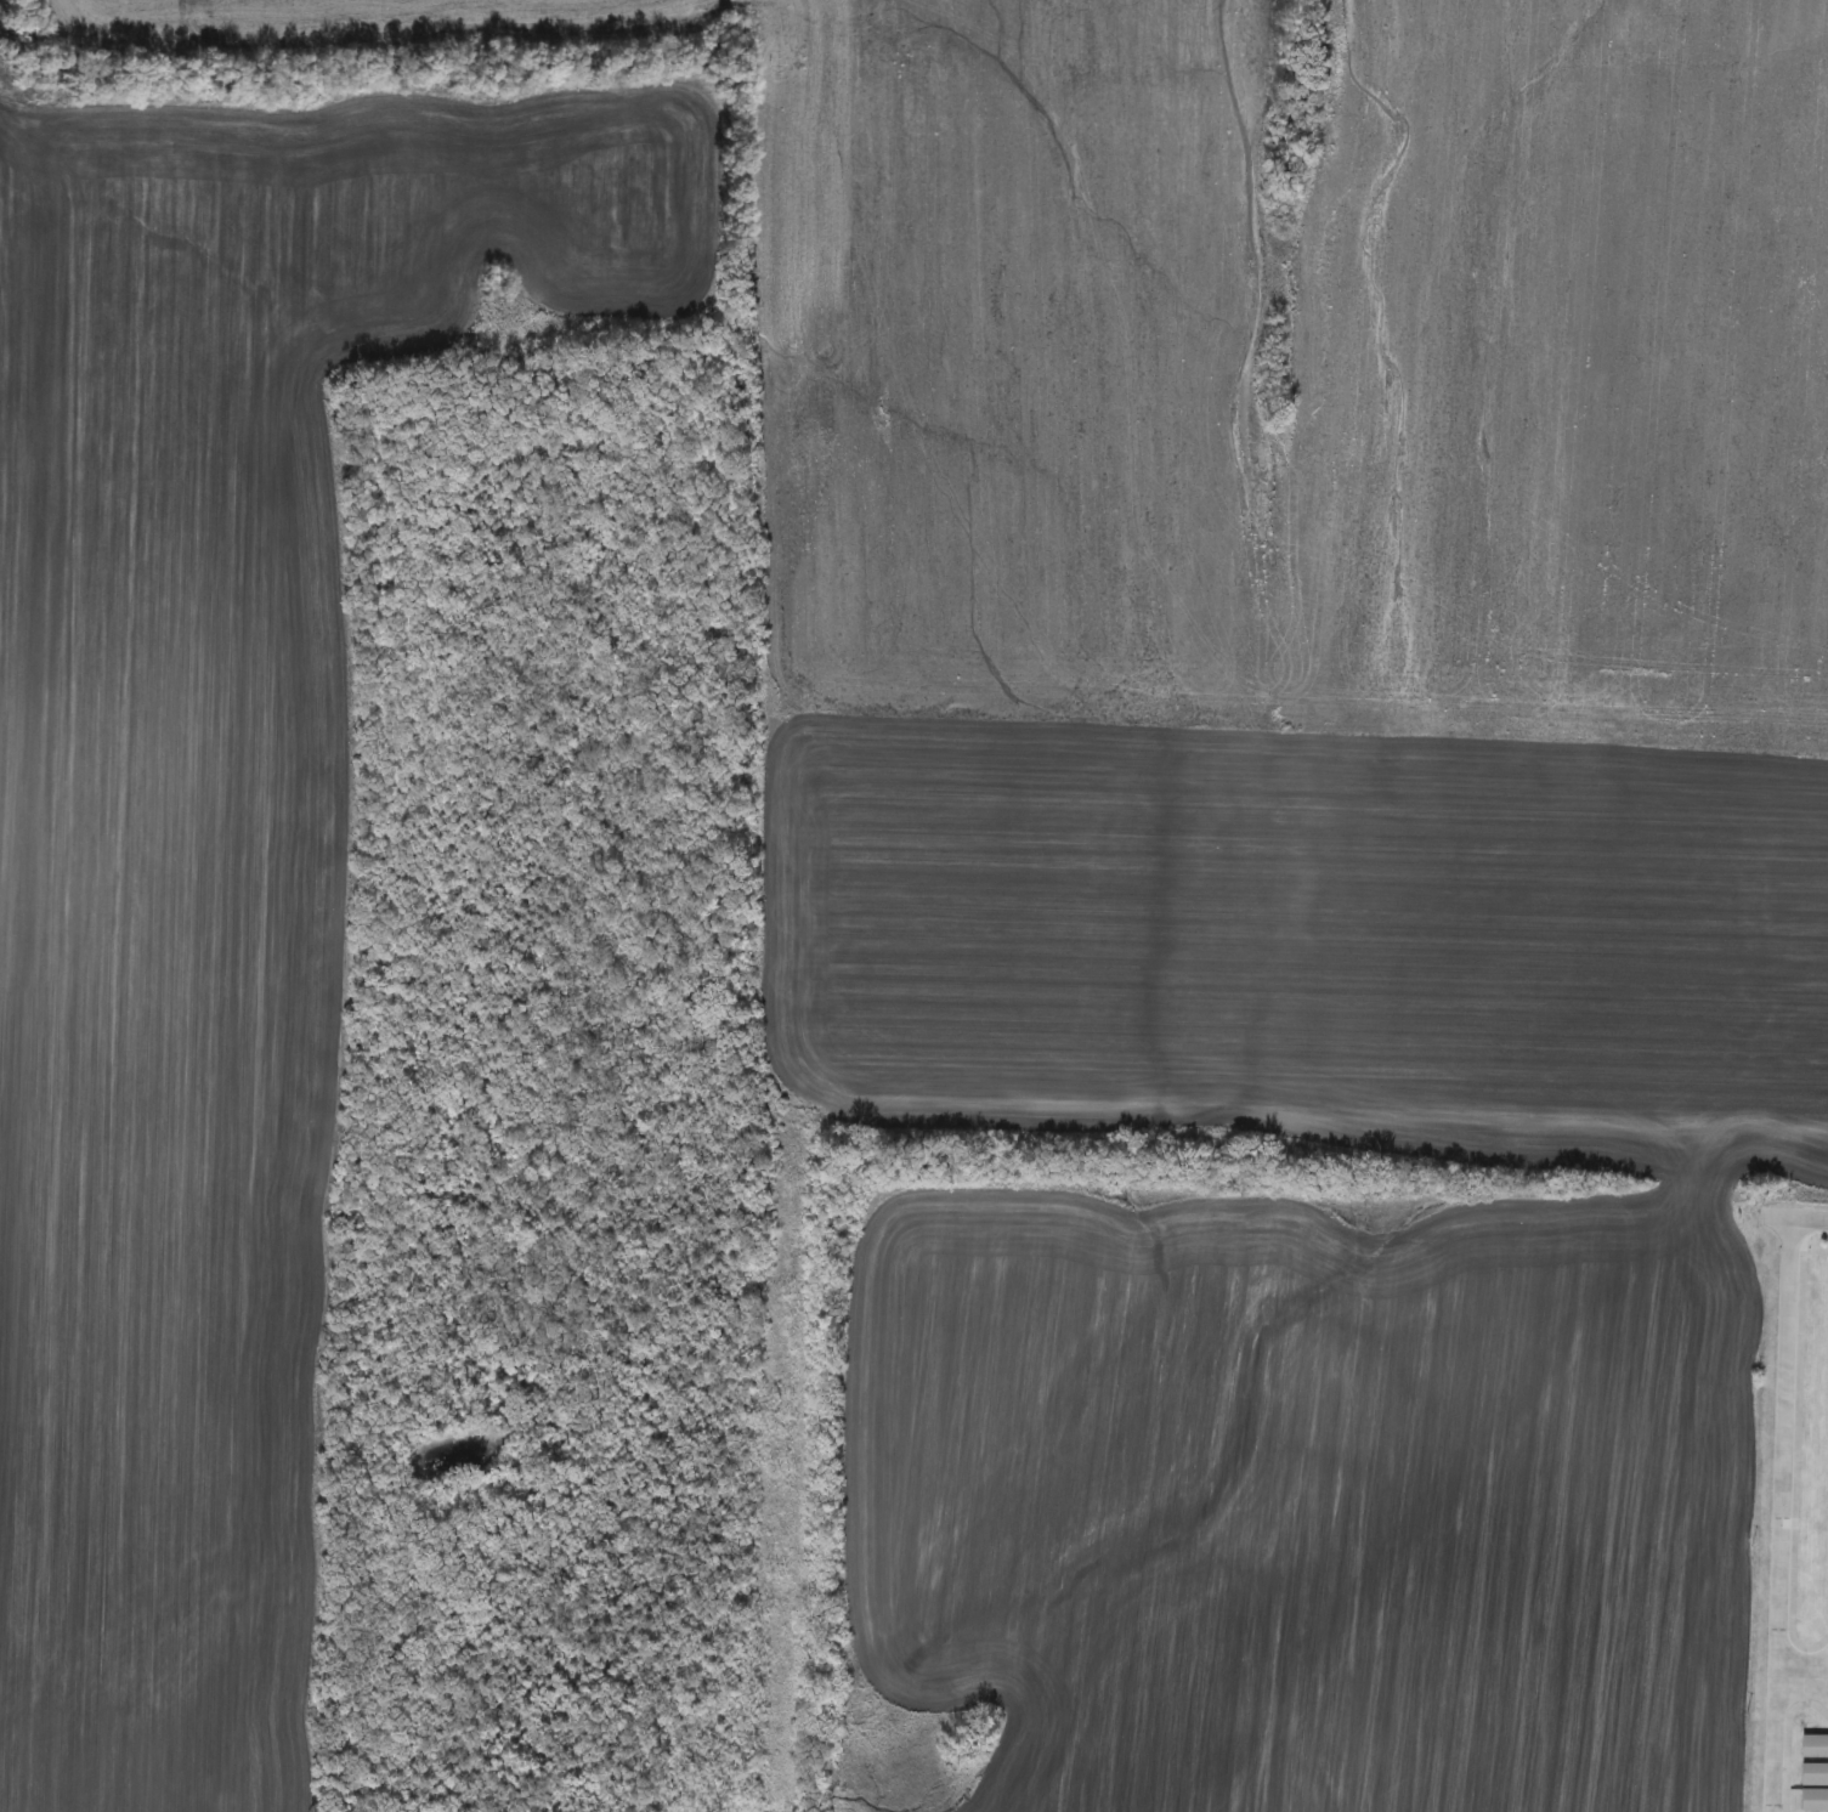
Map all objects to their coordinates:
road: (1811, 1228)
road: (1784, 1519)
road: (1804, 1681)

